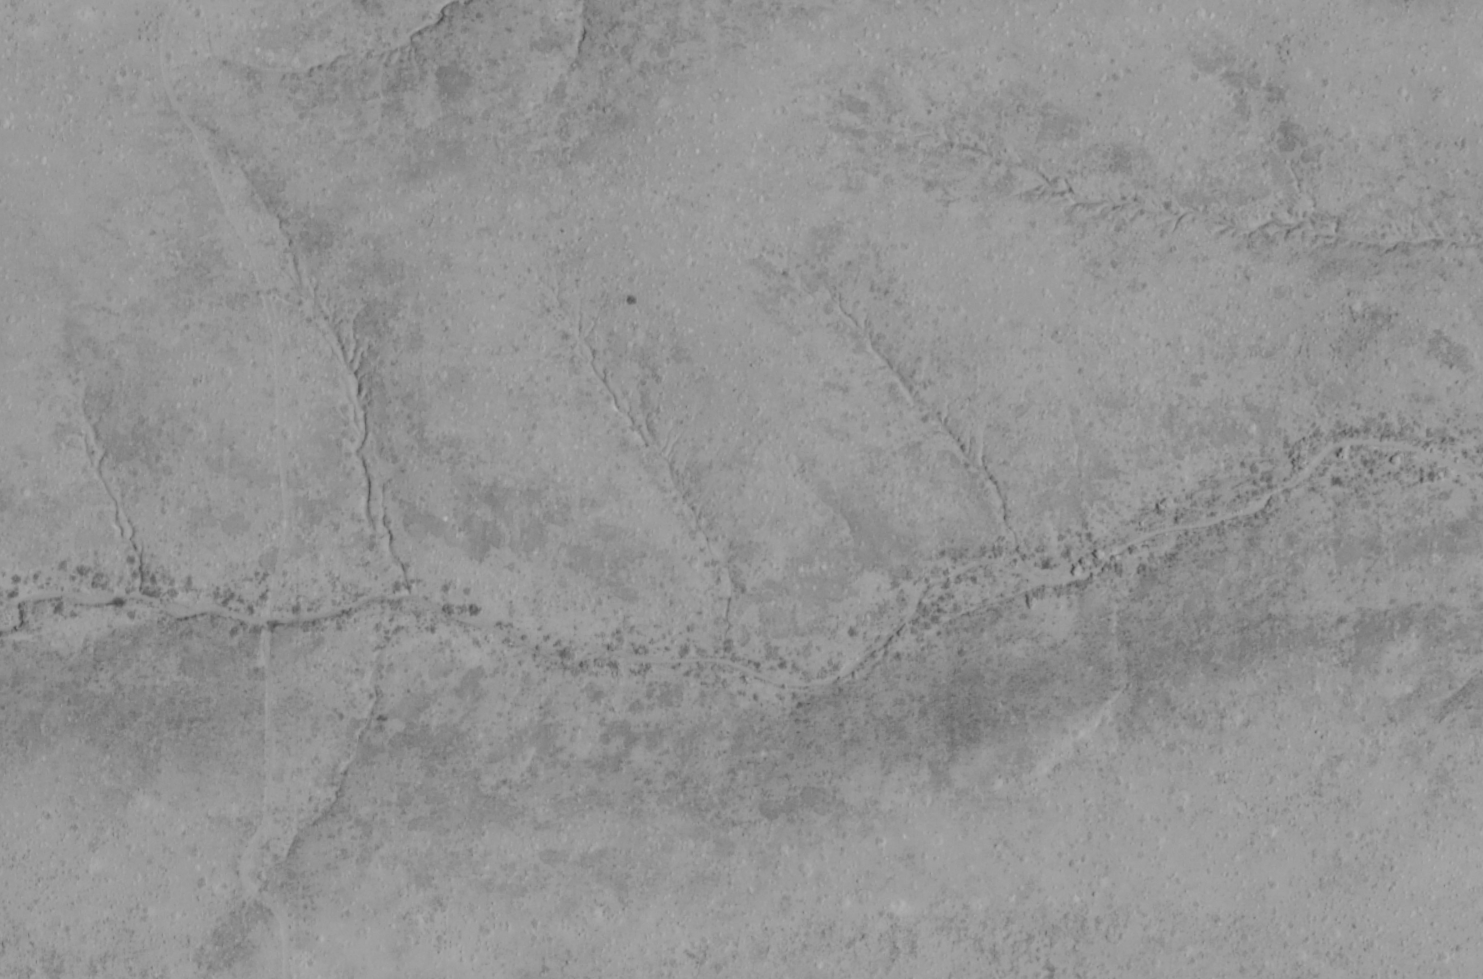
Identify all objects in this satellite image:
road: (282, 488)

